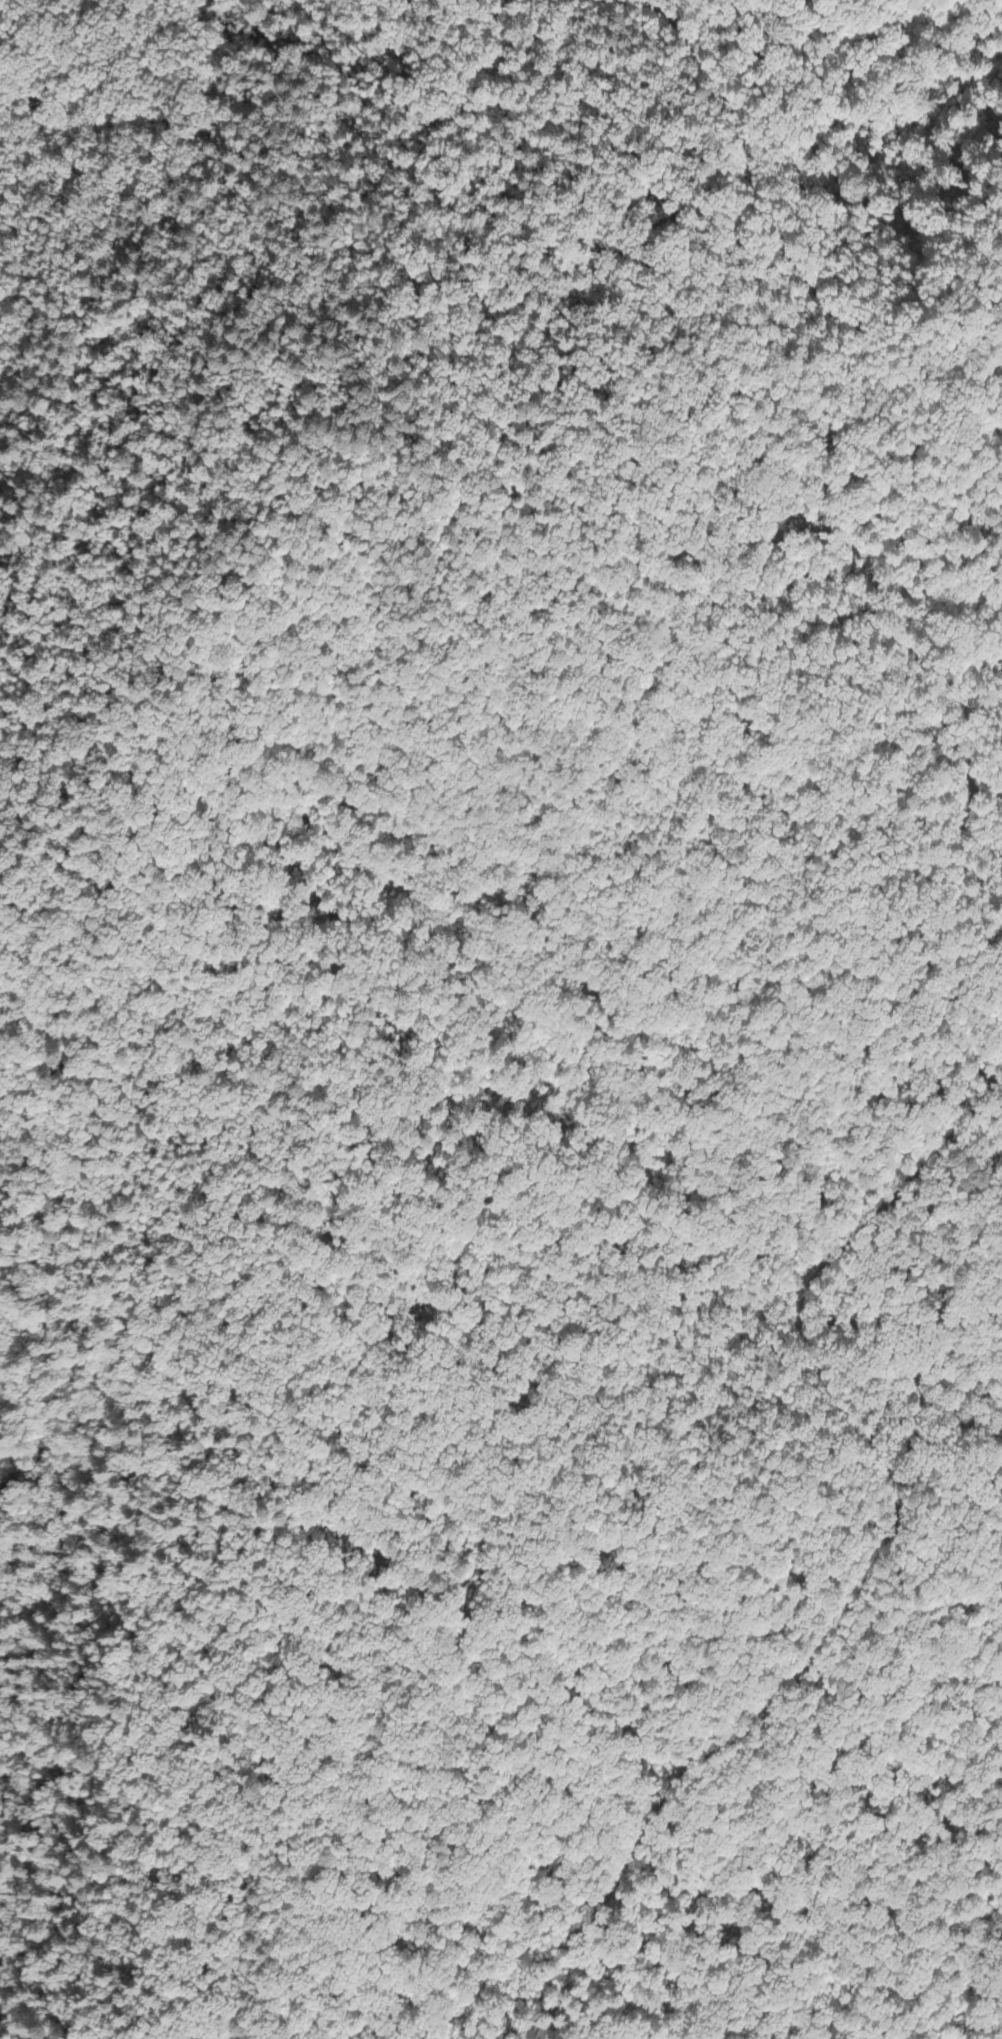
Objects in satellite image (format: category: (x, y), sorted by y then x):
road: (92, 296)
road: (917, 437)
road: (251, 1295)
road: (891, 1571)

